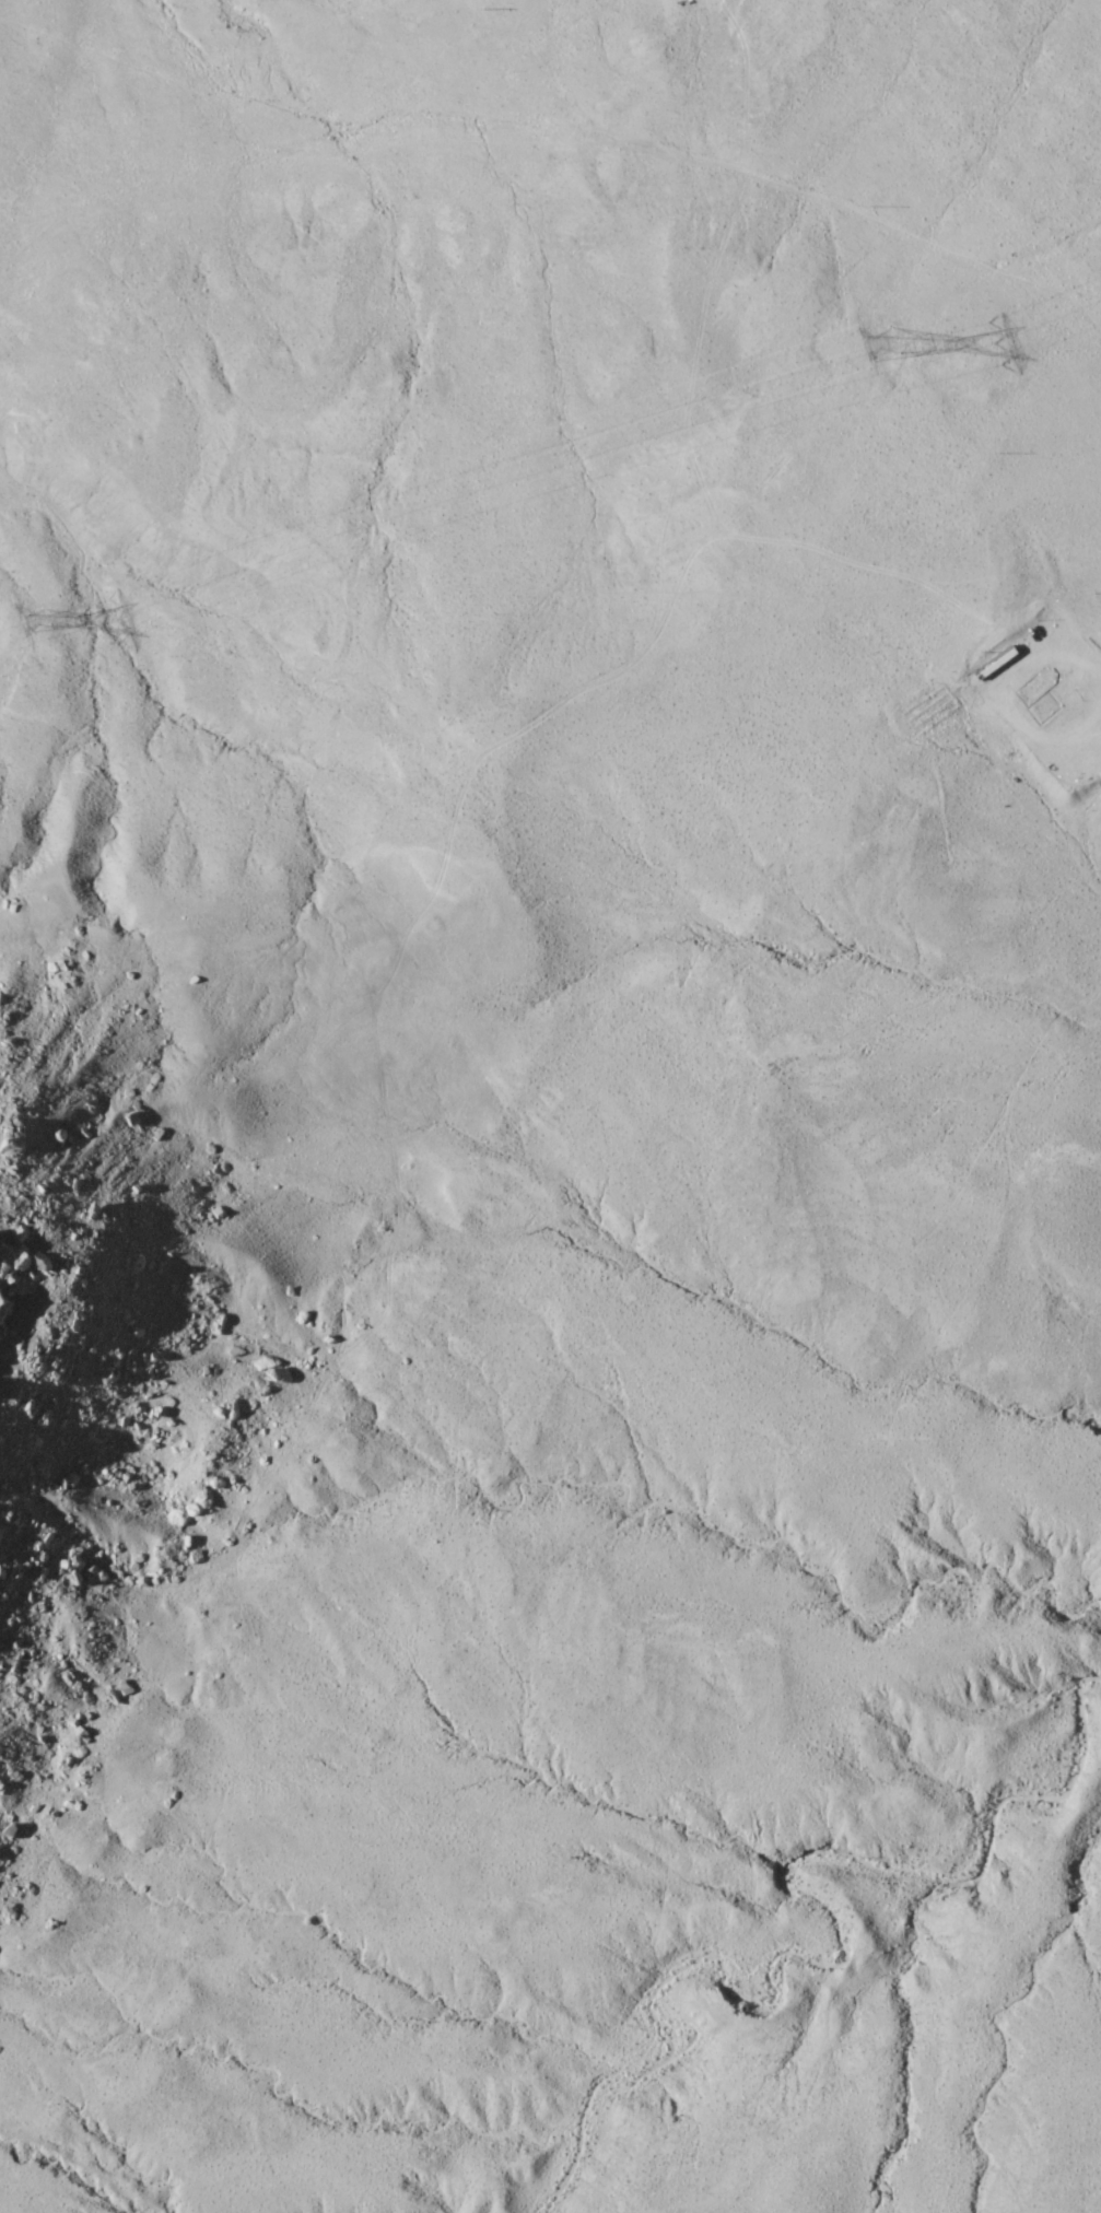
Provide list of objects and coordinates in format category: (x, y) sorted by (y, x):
road: (370, 145)
road: (752, 220)
power tower: (887, 344)
power tower: (47, 620)

